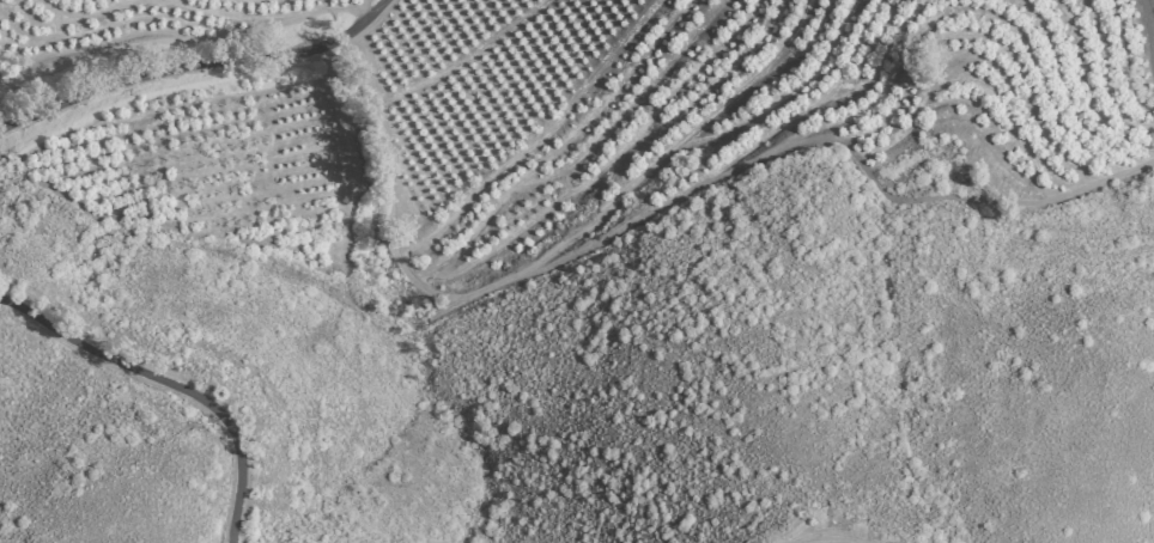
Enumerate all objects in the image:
road: (192, 66)
crop: (560, 145)
road: (174, 383)

